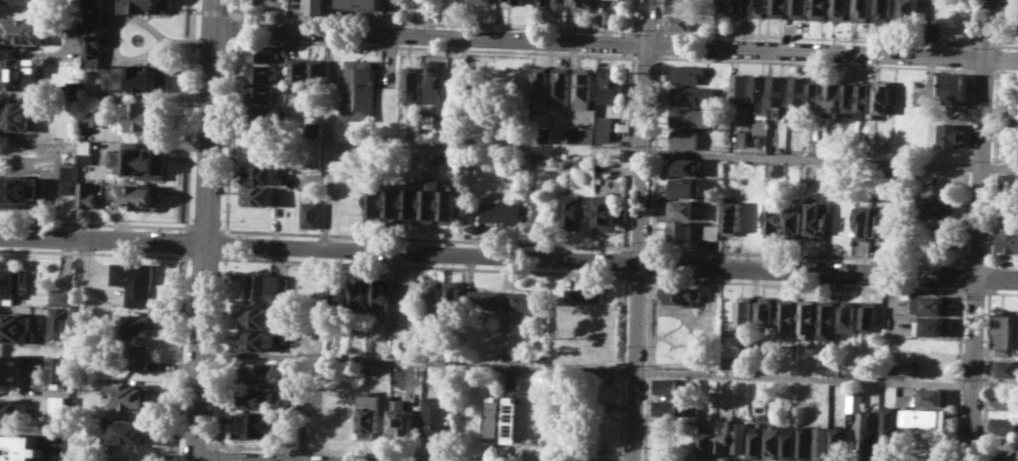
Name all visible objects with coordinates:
building: (17, 0)
building: (483, 0)
building: (517, 0)
building: (421, 1)
building: (361, 3)
building: (543, 3)
building: (561, 4)
building: (582, 5)
building: (685, 5)
building: (145, 6)
building: (314, 6)
building: (720, 6)
building: (739, 6)
building: (94, 8)
building: (757, 8)
building: (777, 8)
building: (798, 8)
street lamp: (227, 9)
building: (818, 9)
road: (197, 10)
road: (214, 10)
building: (839, 10)
building: (860, 10)
building: (883, 10)
building: (911, 10)
road: (231, 12)
road: (231, 14)
road: (394, 16)
building: (608, 16)
road: (659, 17)
street lamp: (241, 18)
street lamp: (324, 21)
building: (679, 21)
road: (444, 24)
road: (230, 26)
street lamp: (422, 26)
building: (70, 27)
street lamp: (639, 29)
building: (21, 30)
street lamp: (528, 30)
road: (635, 34)
street lamp: (629, 35)
street lamp: (734, 37)
road: (231, 38)
building: (93, 41)
road: (616, 42)
street lamp: (834, 42)
road: (336, 43)
road: (635, 44)
road: (659, 44)
street lamp: (940, 46)
building: (262, 53)
street lamp: (637, 64)
building: (298, 69)
building: (315, 70)
building: (18, 73)
building: (262, 73)
building: (690, 73)
street lamp: (975, 75)
building: (136, 77)
building: (413, 83)
building: (611, 83)
building: (434, 84)
building: (540, 84)
building: (561, 85)
building: (954, 85)
building: (583, 87)
building: (742, 87)
building: (360, 88)
building: (72, 90)
building: (779, 90)
building: (818, 92)
building: (260, 93)
building: (760, 93)
building: (799, 93)
building: (690, 95)
building: (850, 95)
building: (885, 96)
building: (458, 97)
building: (833, 99)
building: (866, 99)
building: (1015, 107)
building: (14, 115)
building: (141, 115)
building: (268, 116)
building: (694, 117)
building: (88, 118)
building: (429, 119)
street lamp: (223, 120)
building: (314, 128)
building: (546, 134)
building: (582, 134)
building: (605, 134)
building: (953, 135)
building: (686, 138)
building: (742, 138)
road: (330, 139)
building: (763, 139)
building: (85, 151)
road: (674, 151)
road: (631, 152)
building: (68, 153)
road: (654, 153)
building: (540, 156)
building: (140, 161)
building: (684, 166)
building: (777, 169)
building: (261, 174)
building: (901, 175)
building: (68, 179)
building: (1008, 181)
building: (683, 187)
building: (21, 190)
building: (86, 194)
building: (137, 196)
building: (256, 196)
building: (429, 198)
building: (374, 202)
building: (392, 202)
building: (409, 205)
building: (446, 206)
building: (937, 207)
building: (683, 209)
building: (502, 210)
building: (605, 210)
building: (572, 211)
building: (308, 214)
building: (818, 215)
building: (732, 216)
building: (773, 218)
street lamp: (219, 220)
building: (794, 221)
building: (879, 221)
building: (862, 222)
road: (91, 223)
building: (894, 224)
road: (185, 226)
road: (188, 227)
road: (204, 228)
road: (185, 230)
road: (205, 230)
road: (640, 230)
road: (979, 230)
building: (682, 231)
building: (710, 231)
street lamp: (230, 234)
building: (936, 237)
road: (425, 238)
building: (1009, 239)
road: (225, 243)
road: (639, 248)
road: (89, 252)
road: (807, 254)
road: (509, 255)
road: (182, 256)
road: (188, 256)
road: (204, 257)
road: (626, 261)
road: (976, 262)
road: (1001, 263)
road: (650, 264)
road: (424, 266)
road: (638, 276)
building: (136, 281)
building: (11, 284)
road: (806, 284)
building: (266, 286)
road: (975, 291)
building: (359, 292)
road: (1001, 292)
building: (380, 293)
building: (584, 293)
building: (337, 294)
building: (61, 295)
building: (681, 295)
building: (433, 298)
building: (452, 299)
building: (481, 299)
building: (524, 300)
building: (934, 305)
building: (745, 312)
building: (766, 313)
building: (850, 314)
building: (872, 314)
building: (788, 315)
building: (809, 315)
building: (257, 317)
building: (830, 318)
building: (61, 322)
building: (137, 324)
building: (15, 326)
building: (934, 326)
building: (1006, 330)
building: (257, 340)
building: (329, 342)
road: (220, 350)
building: (138, 355)
road: (623, 365)
building: (933, 365)
road: (646, 367)
building: (1007, 367)
building: (11, 368)
building: (59, 369)
road: (609, 369)
building: (259, 372)
building: (419, 375)
building: (667, 385)
building: (761, 392)
road: (23, 393)
building: (132, 396)
building: (934, 396)
building: (259, 398)
building: (903, 399)
building: (1006, 400)
building: (856, 401)
building: (669, 407)
building: (59, 408)
building: (9, 412)
building: (403, 414)
building: (370, 415)
building: (434, 415)
building: (927, 417)
building: (496, 418)
building: (512, 419)
building: (889, 423)
building: (256, 424)
building: (1005, 425)
building: (131, 431)
building: (870, 432)
building: (722, 435)
building: (739, 436)
building: (706, 438)
building: (787, 441)
building: (771, 442)
building: (804, 442)
building: (821, 442)
building: (838, 443)
building: (755, 444)
building: (19, 448)
building: (1005, 452)
road: (405, 453)
road: (217, 455)
road: (207, 460)

